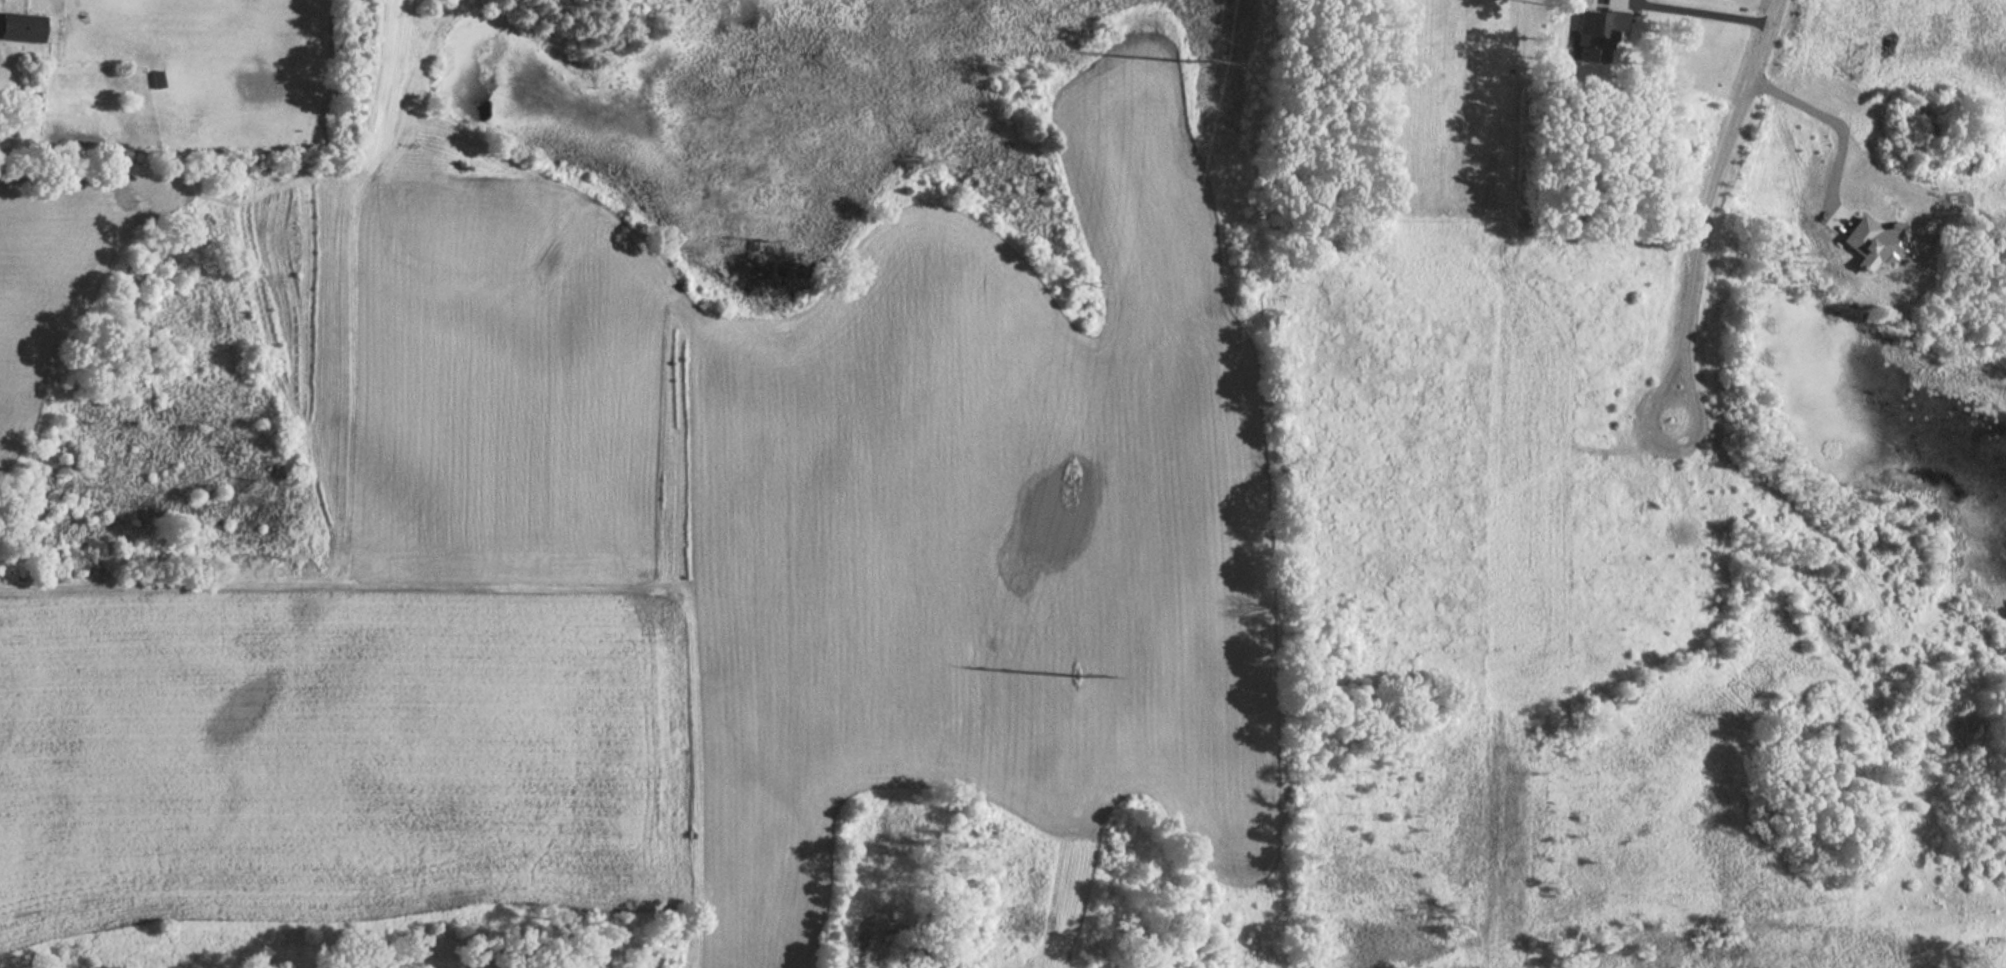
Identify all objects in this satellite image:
road: (1719, 7)
building: (18, 28)
building: (1595, 35)
power tower: (1190, 65)
building: (153, 80)
road: (1835, 129)
road: (1703, 214)
crop: (52, 267)
crop: (695, 574)
power tower: (1080, 679)

